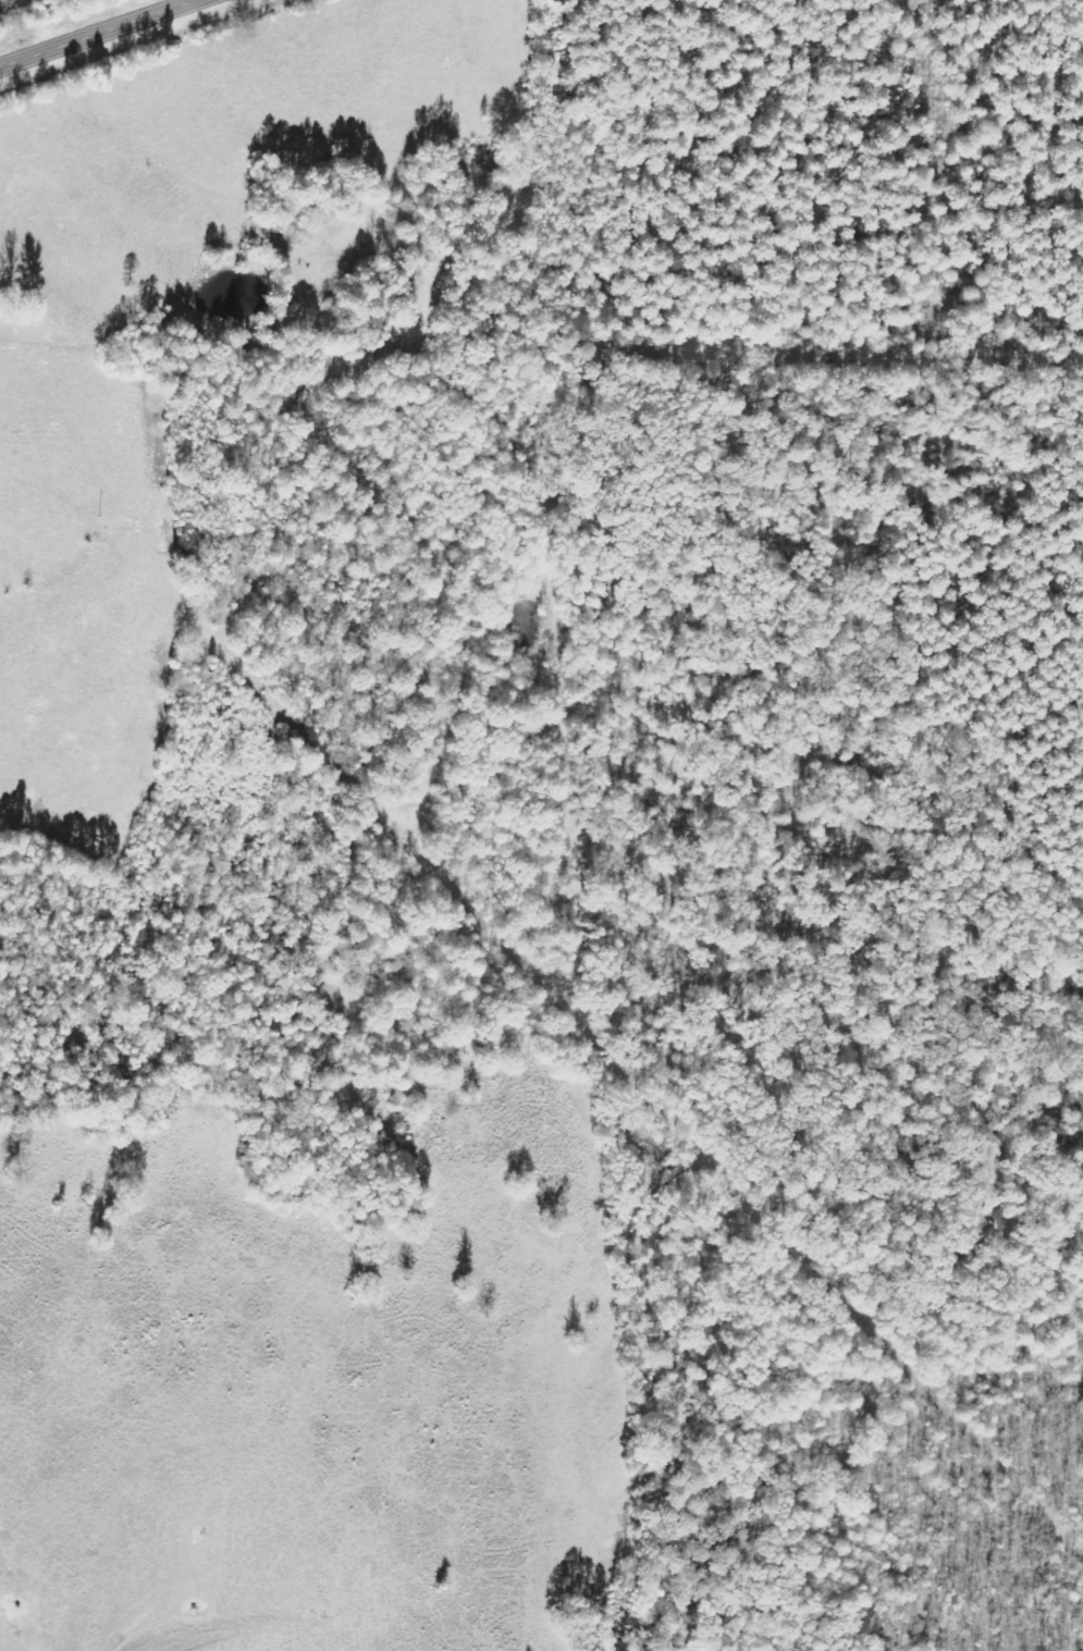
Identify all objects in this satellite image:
road: (102, 35)

